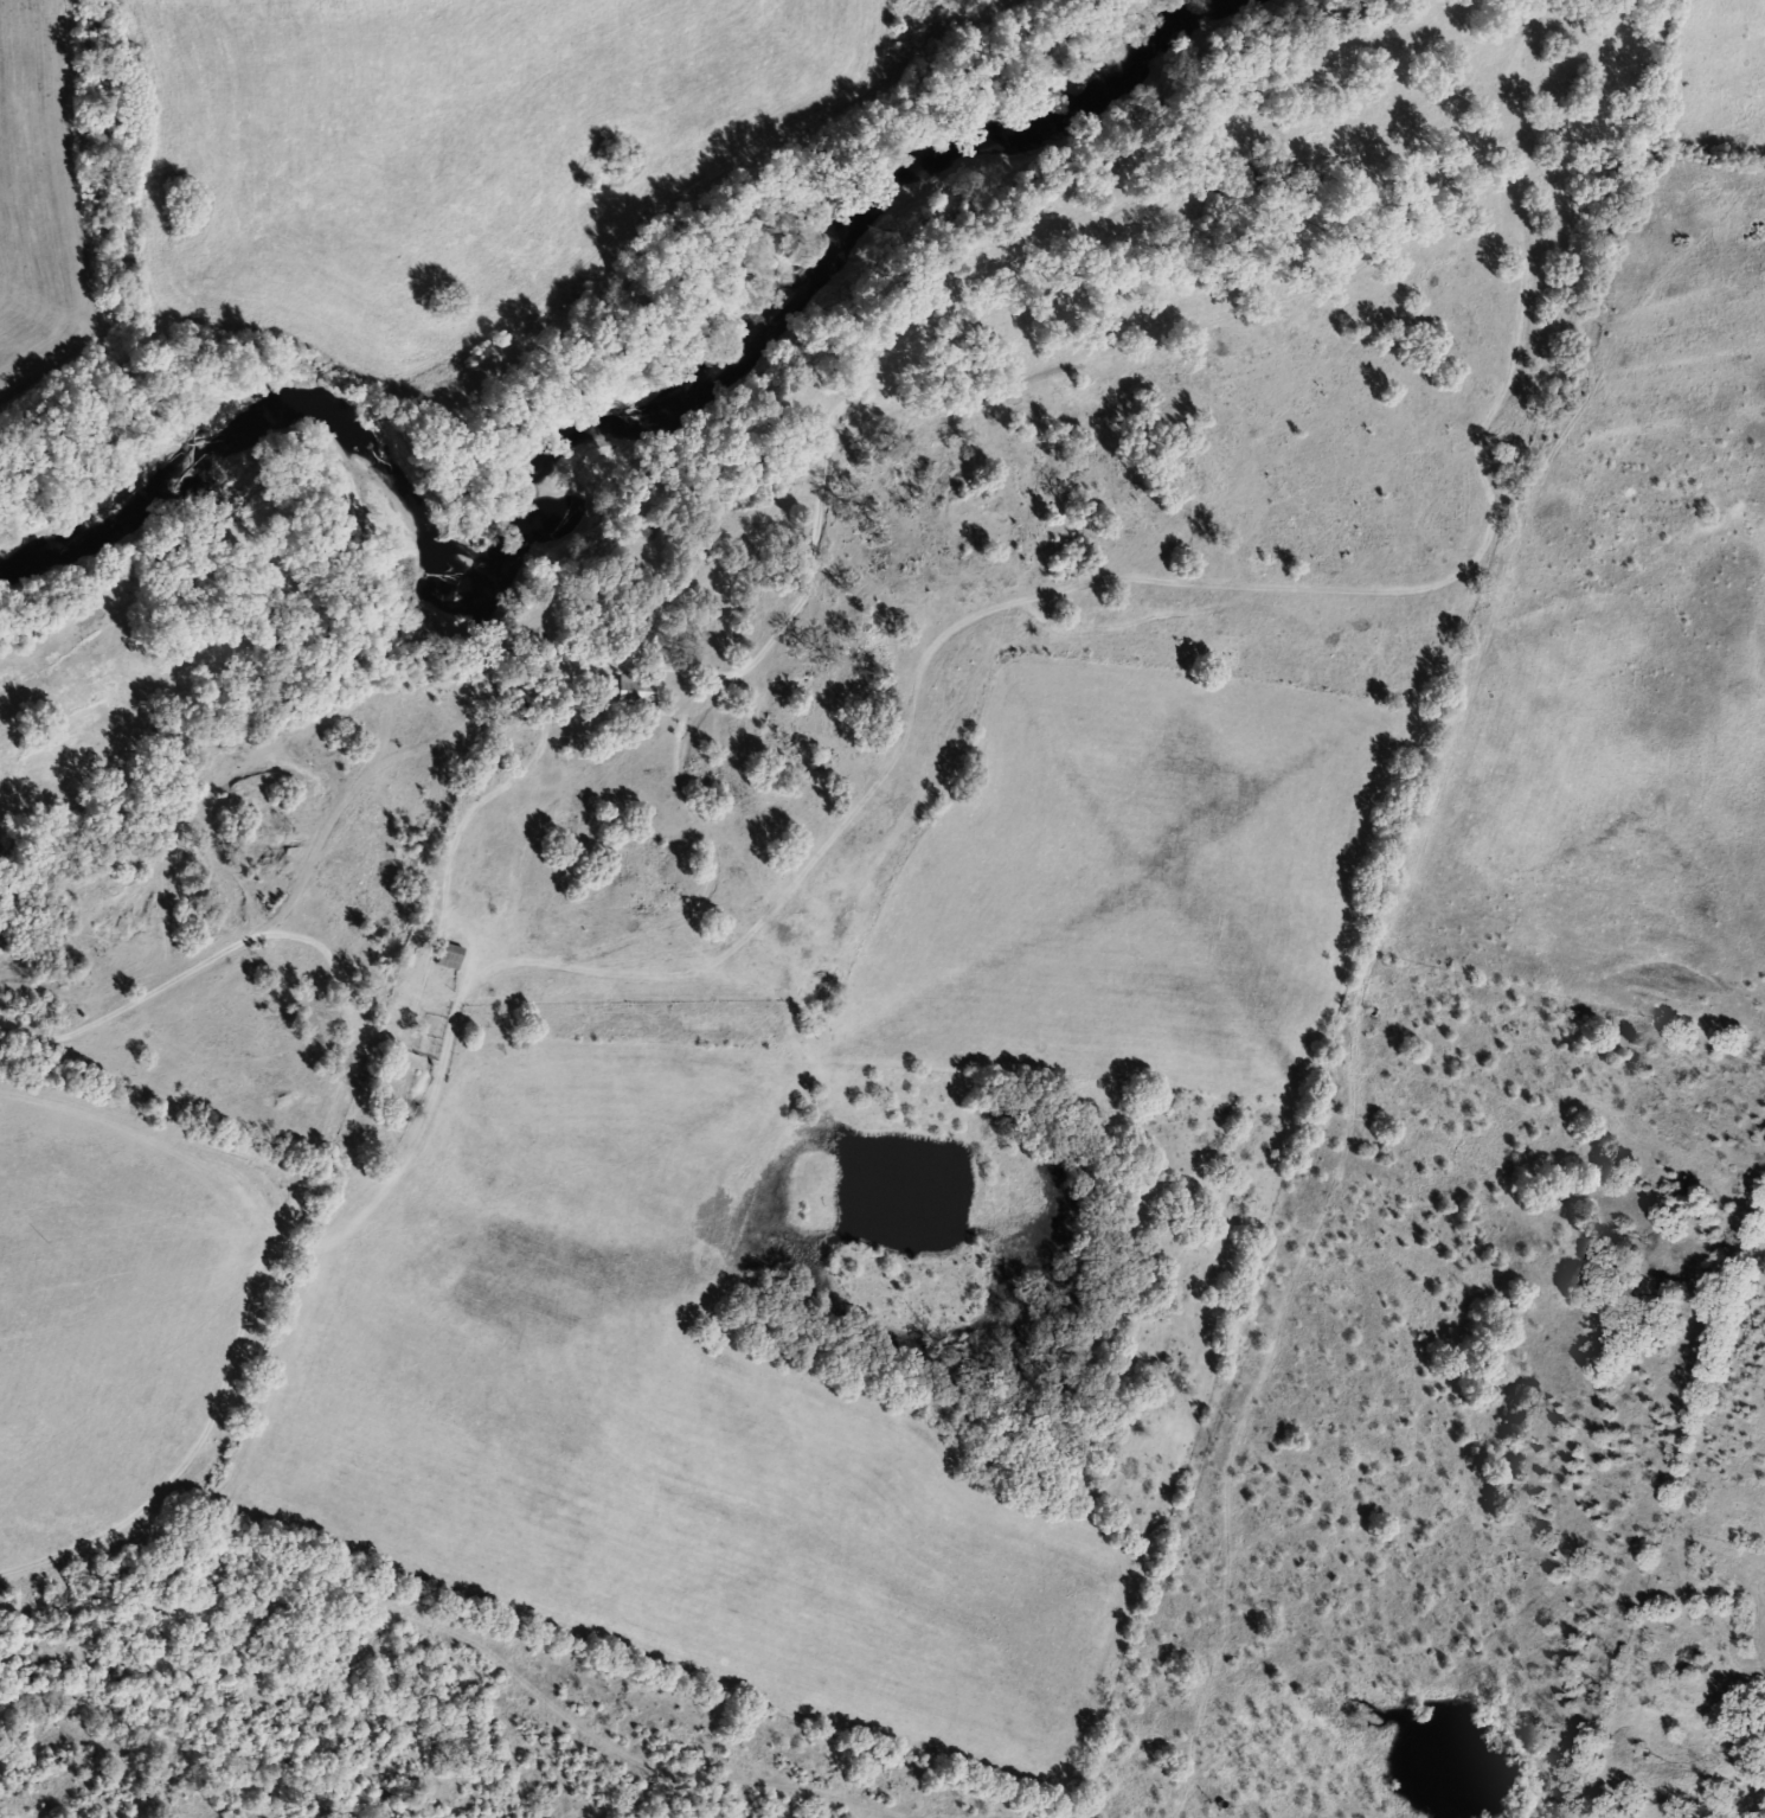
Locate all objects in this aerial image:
river: (565, 459)
building: (638, 689)
building: (453, 958)
building: (824, 988)
building: (377, 1139)

